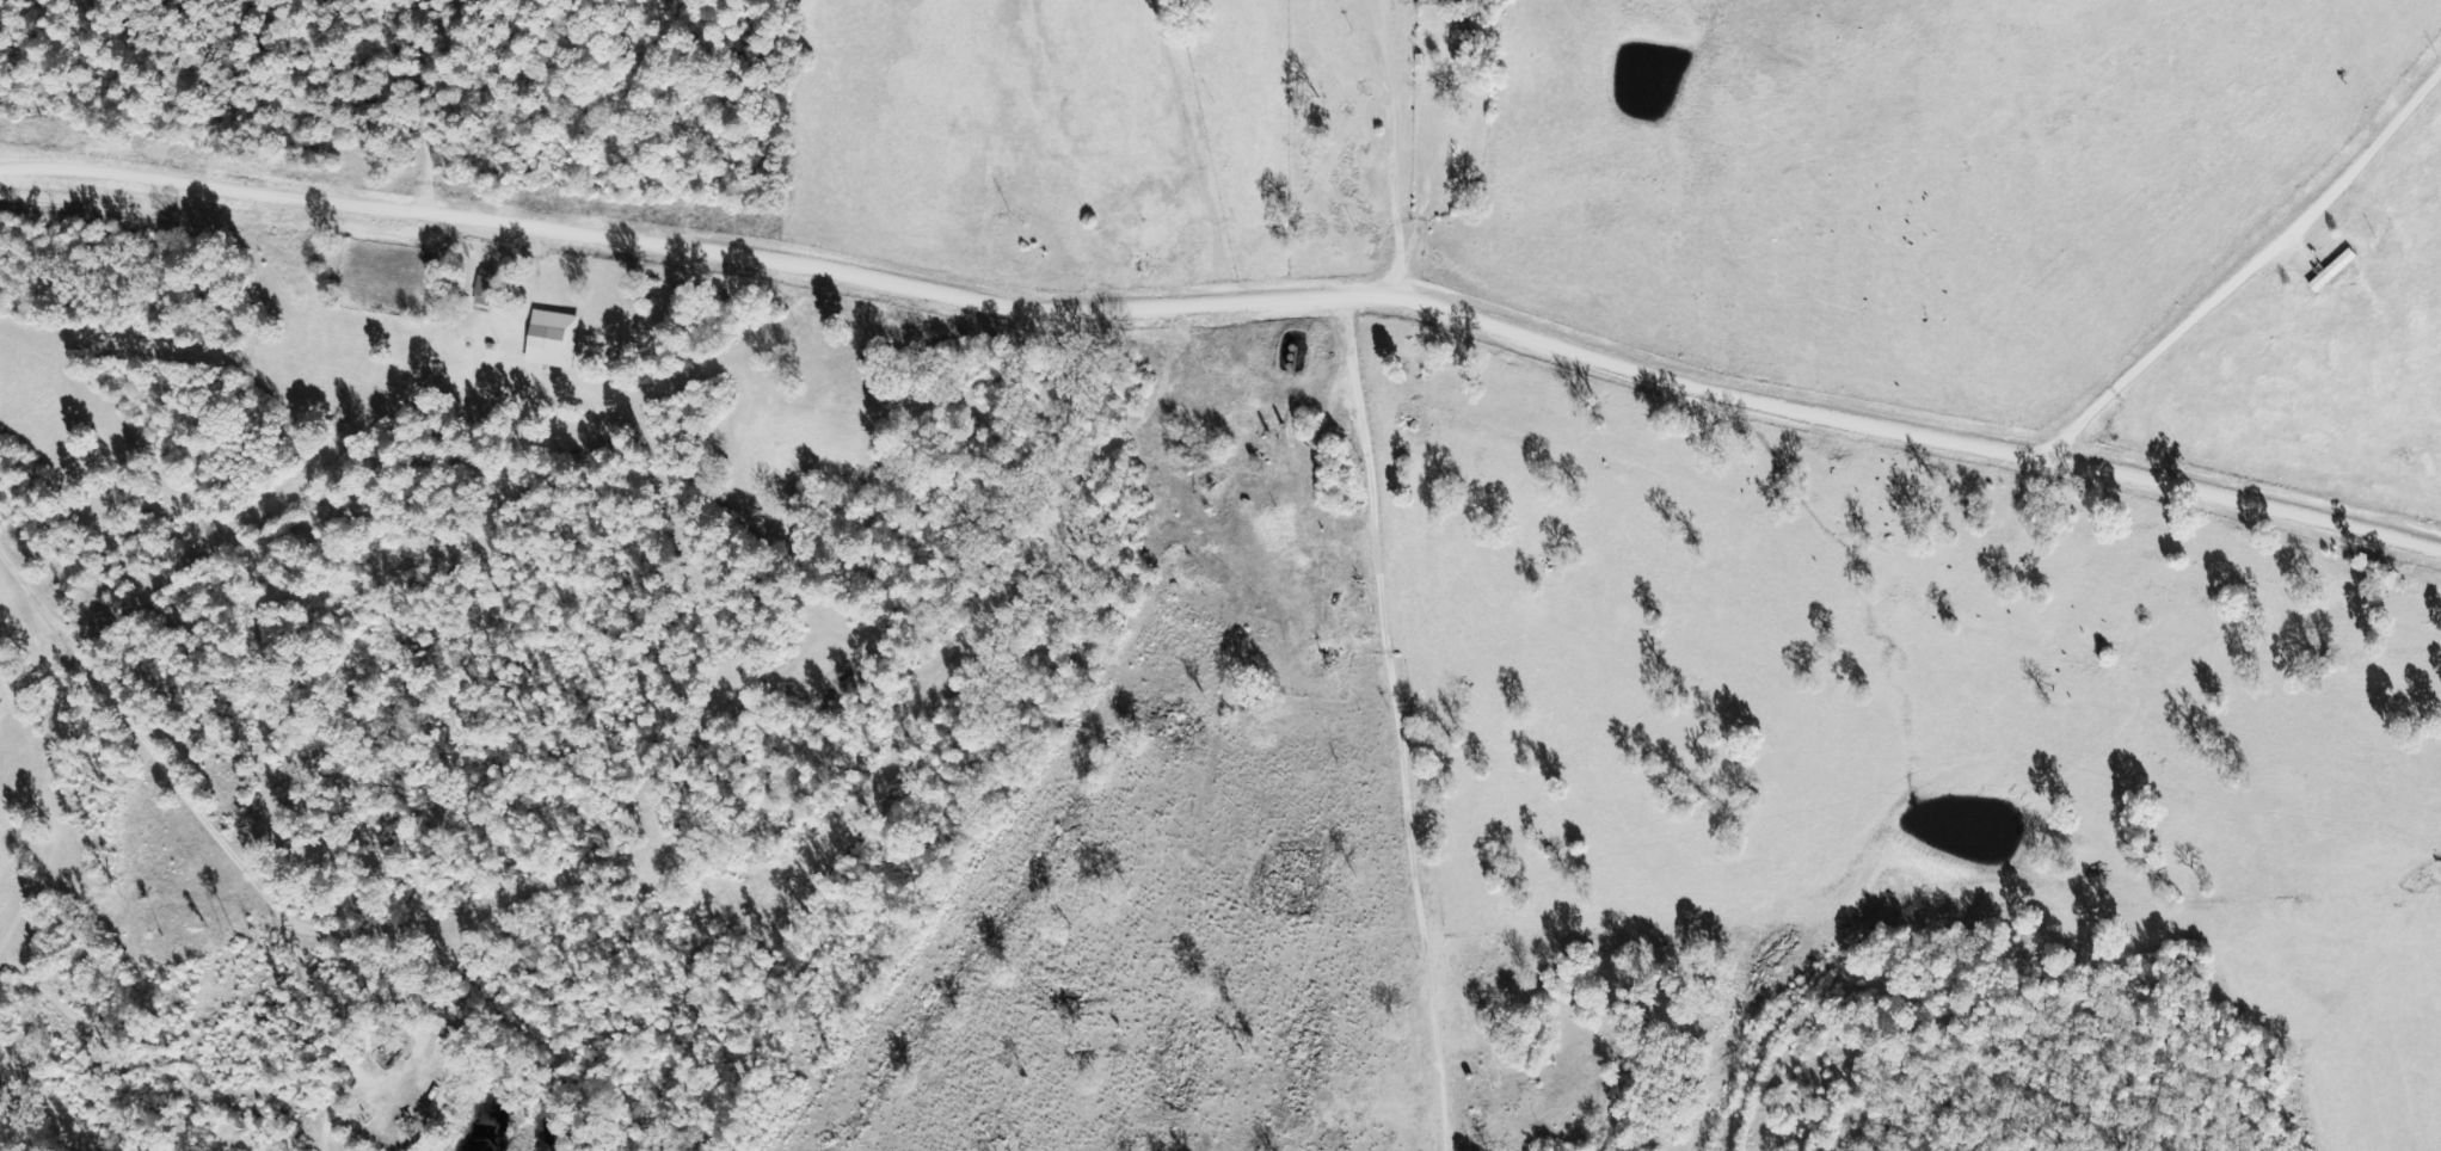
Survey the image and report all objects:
building: (1463, 44)
road: (400, 113)
road: (1213, 154)
road: (2292, 282)
building: (485, 288)
road: (2382, 290)
road: (1224, 316)
building: (552, 339)
road: (253, 874)

